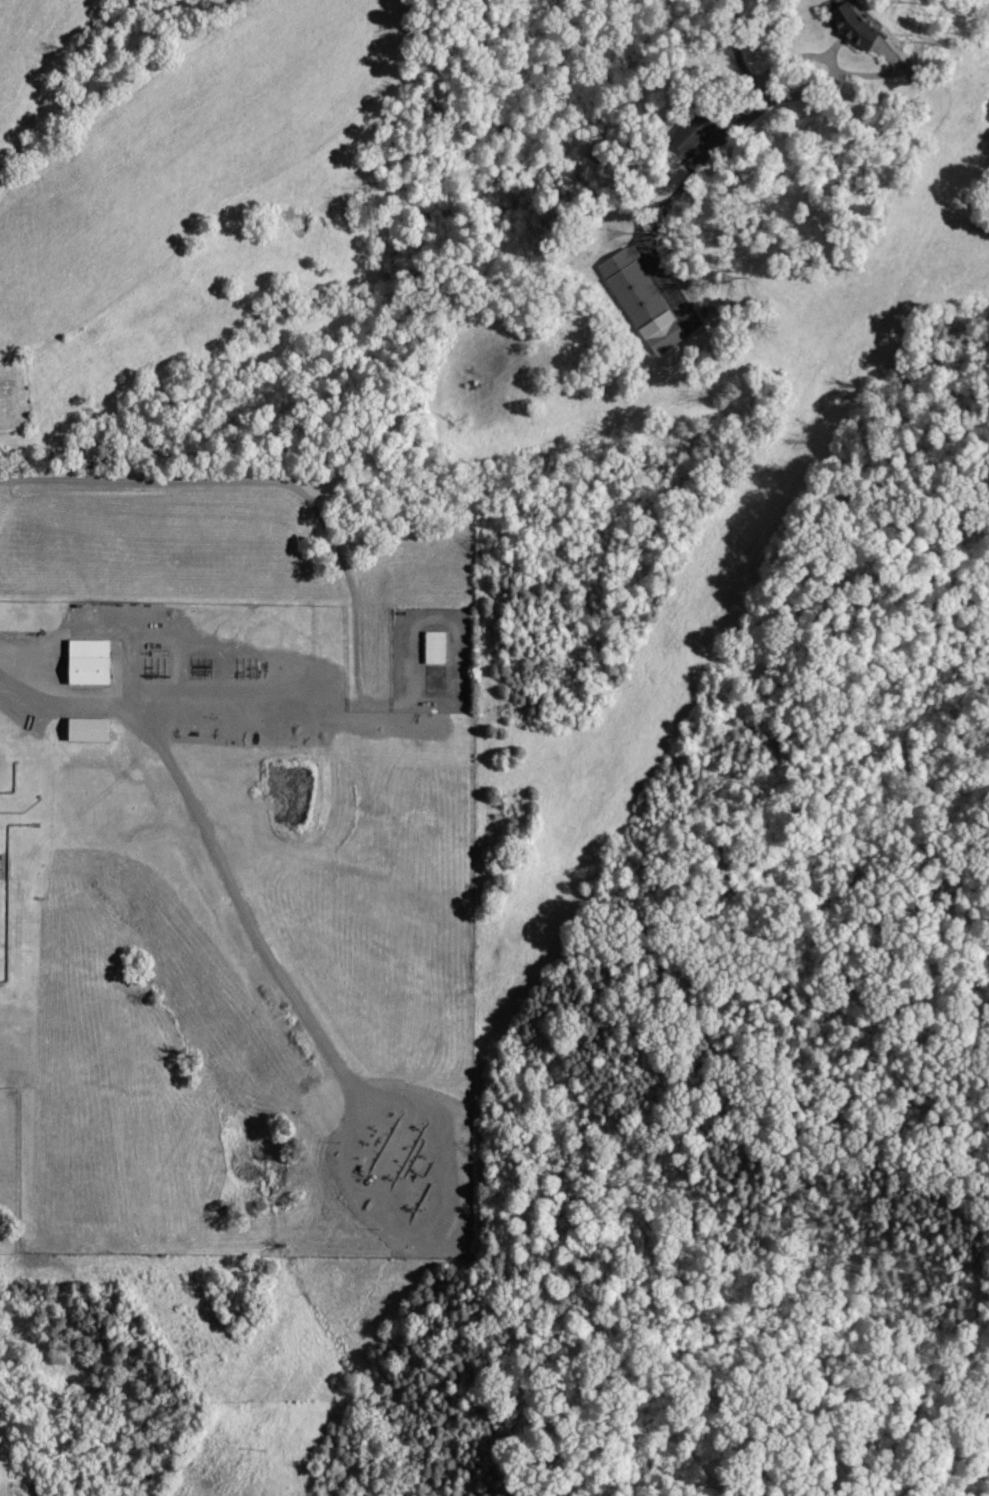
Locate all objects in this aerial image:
building: (863, 25)
road: (783, 44)
building: (647, 300)
building: (437, 649)
building: (95, 665)
building: (91, 732)
road: (213, 857)

